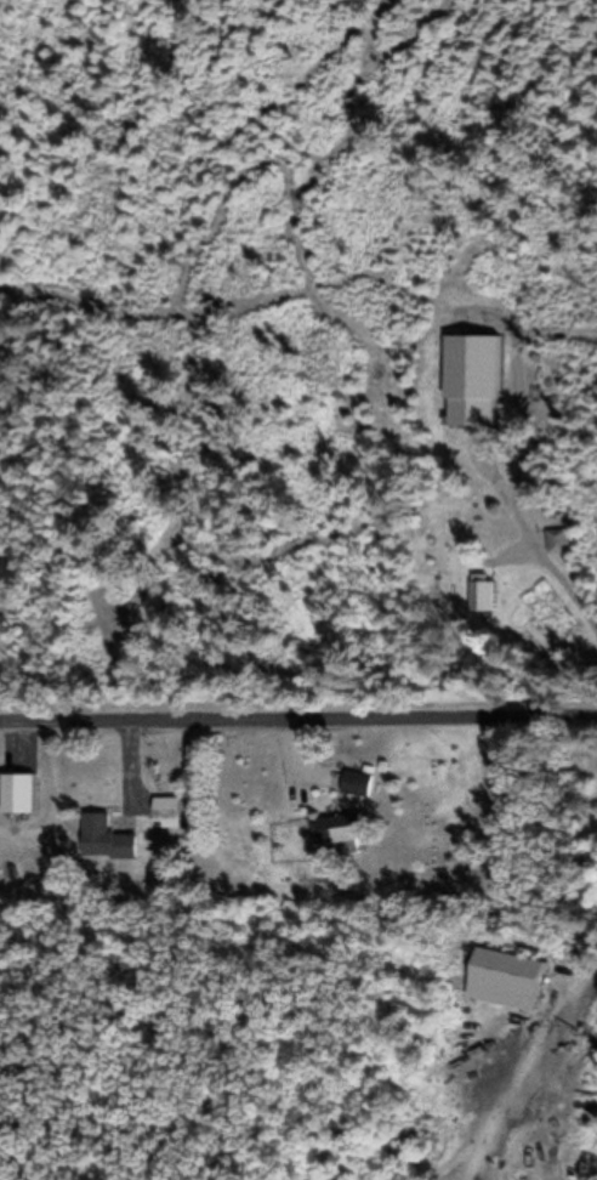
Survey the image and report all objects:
road: (298, 727)
building: (354, 784)
building: (17, 795)
building: (165, 810)
building: (339, 835)
building: (103, 840)
building: (500, 981)
road: (514, 1085)

